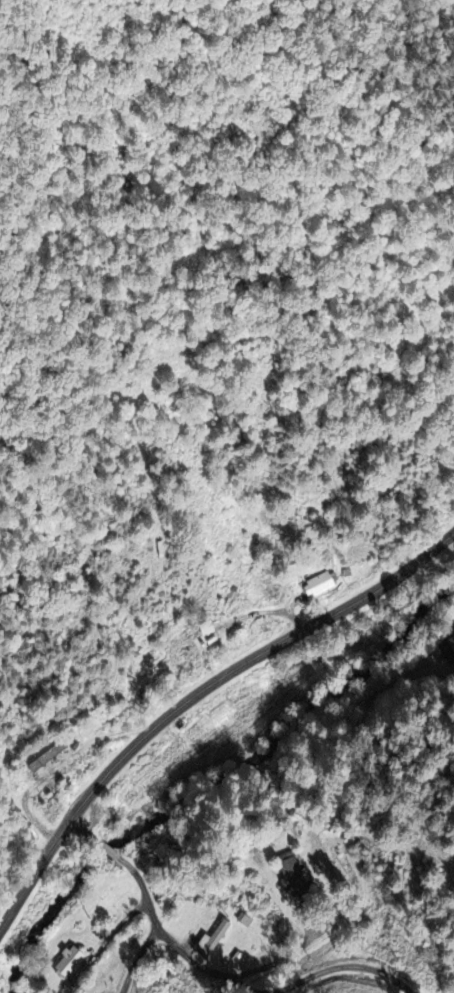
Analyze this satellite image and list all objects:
building: (317, 584)
building: (452, 646)
road: (197, 697)
building: (290, 873)
road: (155, 920)
building: (68, 961)
road: (268, 963)
road: (343, 968)

